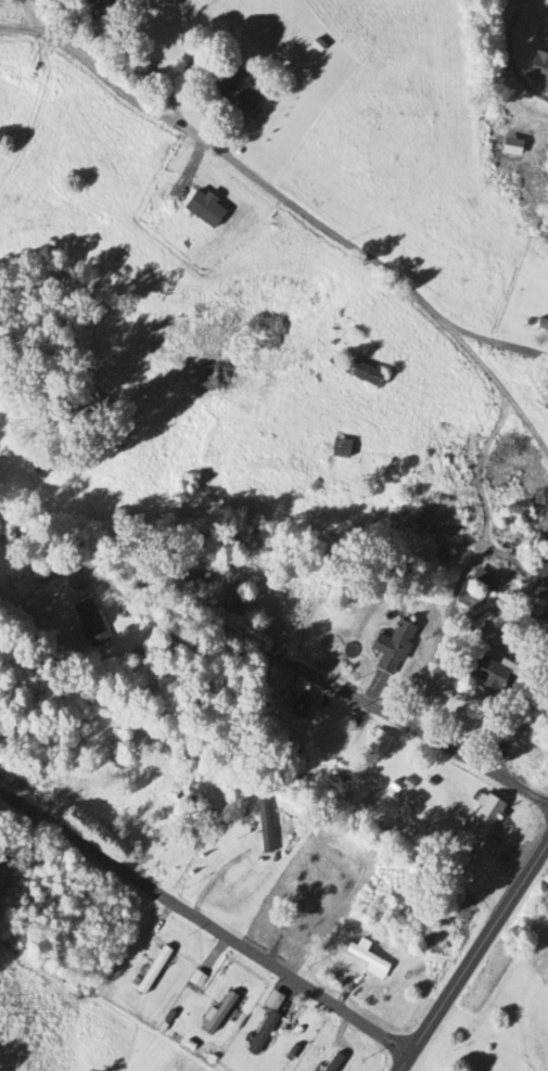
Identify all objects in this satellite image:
road: (28, 16)
road: (509, 56)
building: (538, 71)
building: (234, 89)
road: (275, 193)
building: (540, 324)
building: (361, 372)
road: (498, 390)
building: (540, 403)
building: (340, 448)
road: (462, 525)
building: (537, 563)
building: (187, 578)
building: (264, 585)
building: (474, 590)
building: (540, 605)
road: (421, 619)
building: (89, 624)
building: (391, 648)
building: (487, 673)
building: (82, 702)
building: (297, 707)
road: (419, 732)
building: (375, 747)
building: (115, 750)
building: (190, 807)
building: (484, 814)
building: (262, 828)
road: (204, 925)
road: (473, 957)
building: (366, 959)
building: (152, 970)
building: (218, 1013)
building: (262, 1034)
building: (332, 1063)

